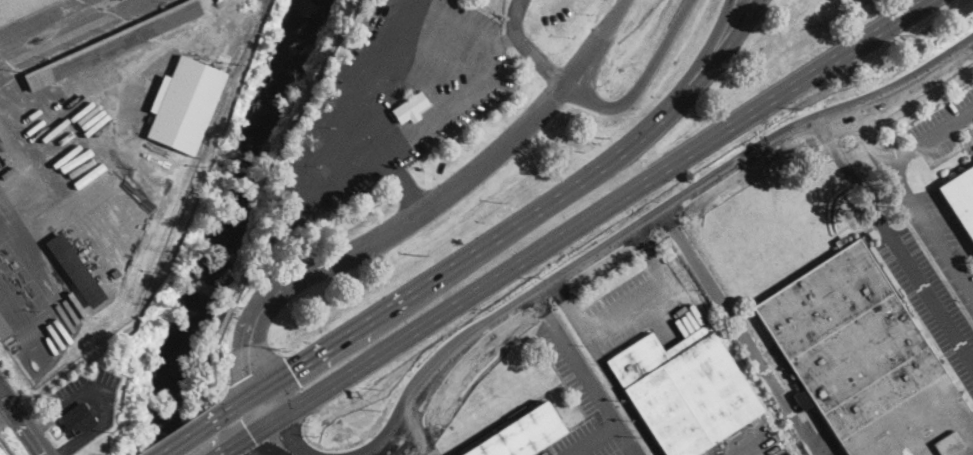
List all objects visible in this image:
road: (258, 3)
building: (18, 8)
road: (51, 24)
road: (587, 39)
road: (498, 41)
building: (112, 44)
road: (526, 45)
road: (133, 62)
road: (697, 64)
road: (713, 67)
helipad: (388, 71)
road: (929, 81)
road: (642, 83)
parking lot: (392, 97)
building: (184, 104)
building: (410, 108)
road: (850, 123)
parking lot: (941, 127)
park: (280, 130)
road: (867, 136)
road: (930, 138)
road: (491, 146)
road: (36, 154)
road: (351, 172)
road: (746, 176)
road: (401, 182)
building: (960, 198)
road: (422, 210)
road: (604, 213)
road: (650, 216)
road: (672, 222)
road: (35, 229)
road: (930, 231)
road: (657, 232)
road: (894, 241)
road: (641, 242)
road: (338, 246)
road: (24, 251)
road: (648, 252)
road: (601, 268)
building: (75, 270)
road: (441, 271)
road: (240, 282)
road: (552, 300)
parking lot: (632, 302)
road: (624, 304)
road: (243, 311)
road: (18, 316)
building: (4, 329)
road: (740, 332)
road: (211, 356)
park: (155, 359)
road: (470, 361)
building: (862, 361)
road: (604, 368)
traffic signals: (291, 369)
road: (252, 372)
traffic signals: (248, 373)
road: (586, 373)
road: (295, 384)
building: (684, 390)
road: (104, 391)
parking lot: (584, 403)
road: (7, 411)
road: (268, 416)
road: (24, 420)
building: (78, 420)
road: (238, 422)
road: (188, 433)
road: (420, 434)
building: (521, 434)
road: (277, 436)
traffic signals: (253, 438)
traffic signals: (280, 438)
road: (593, 439)
road: (249, 440)
road: (281, 440)
road: (429, 441)
road: (5, 447)
road: (245, 451)
road: (751, 451)
building: (2, 452)
road: (428, 452)
road: (637, 454)

